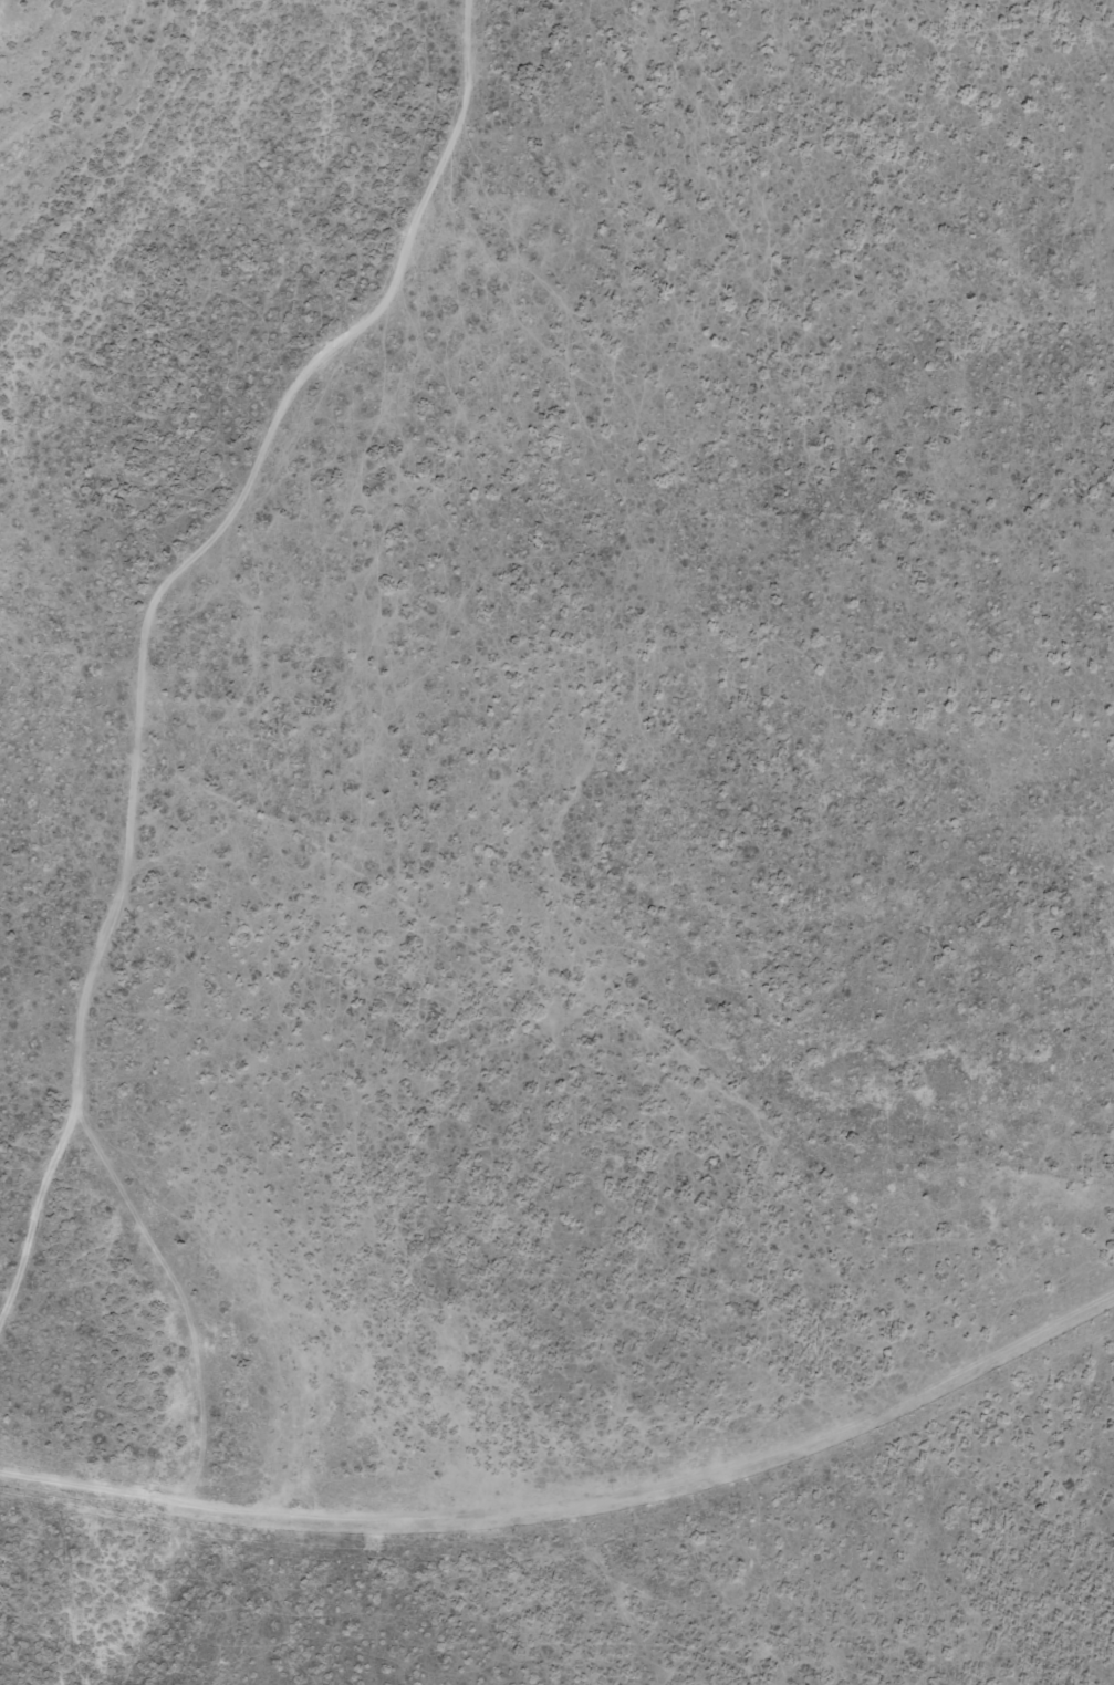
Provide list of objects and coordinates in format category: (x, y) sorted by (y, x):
road: (177, 662)
road: (61, 1585)

